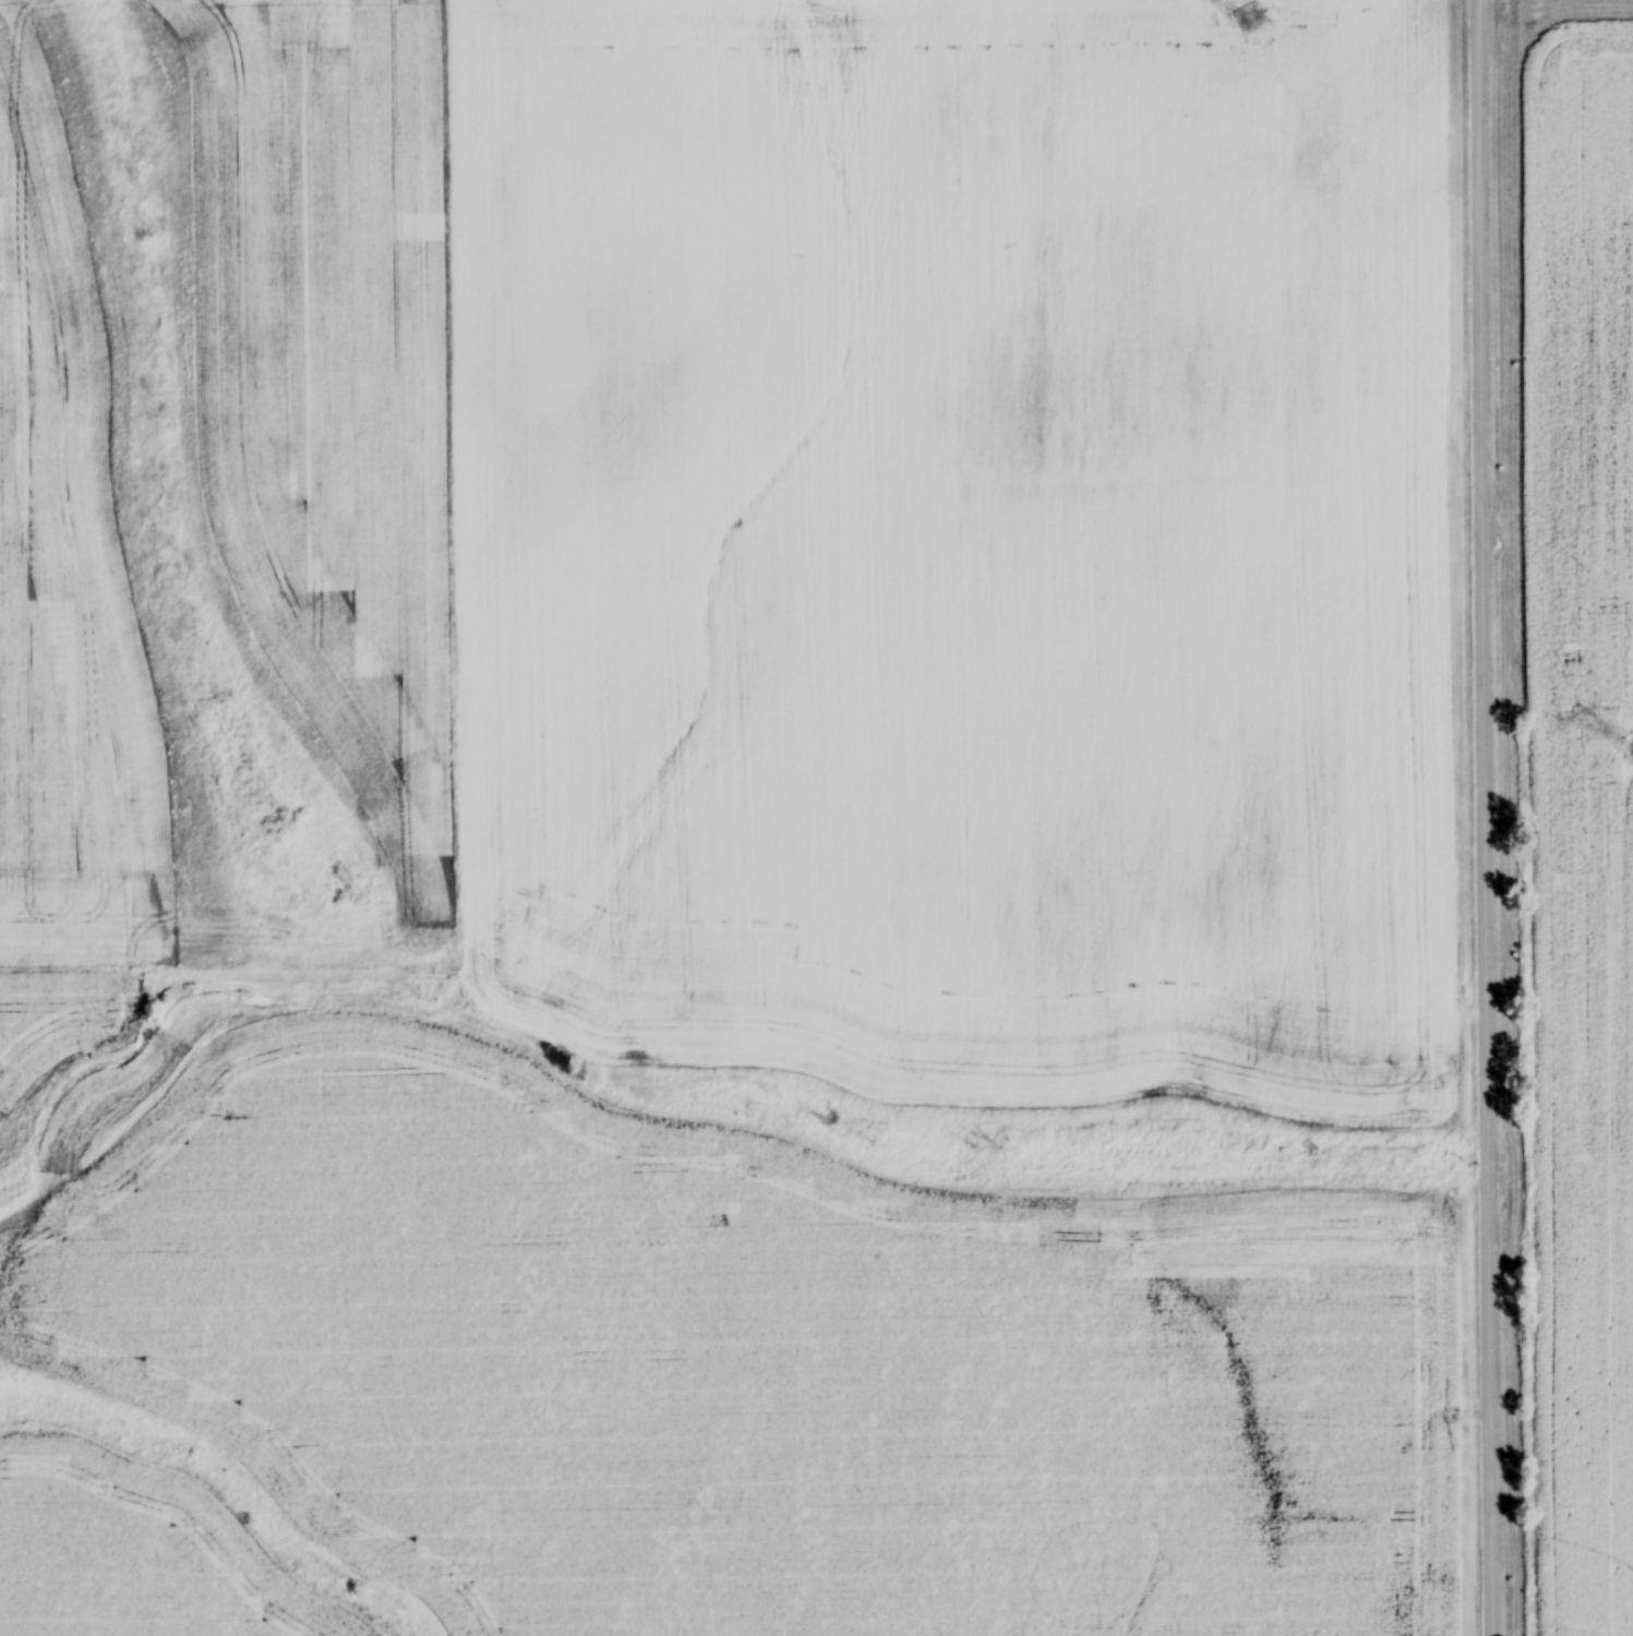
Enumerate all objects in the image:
building: (1593, 4)
power tower: (1251, 23)
road: (1486, 818)

